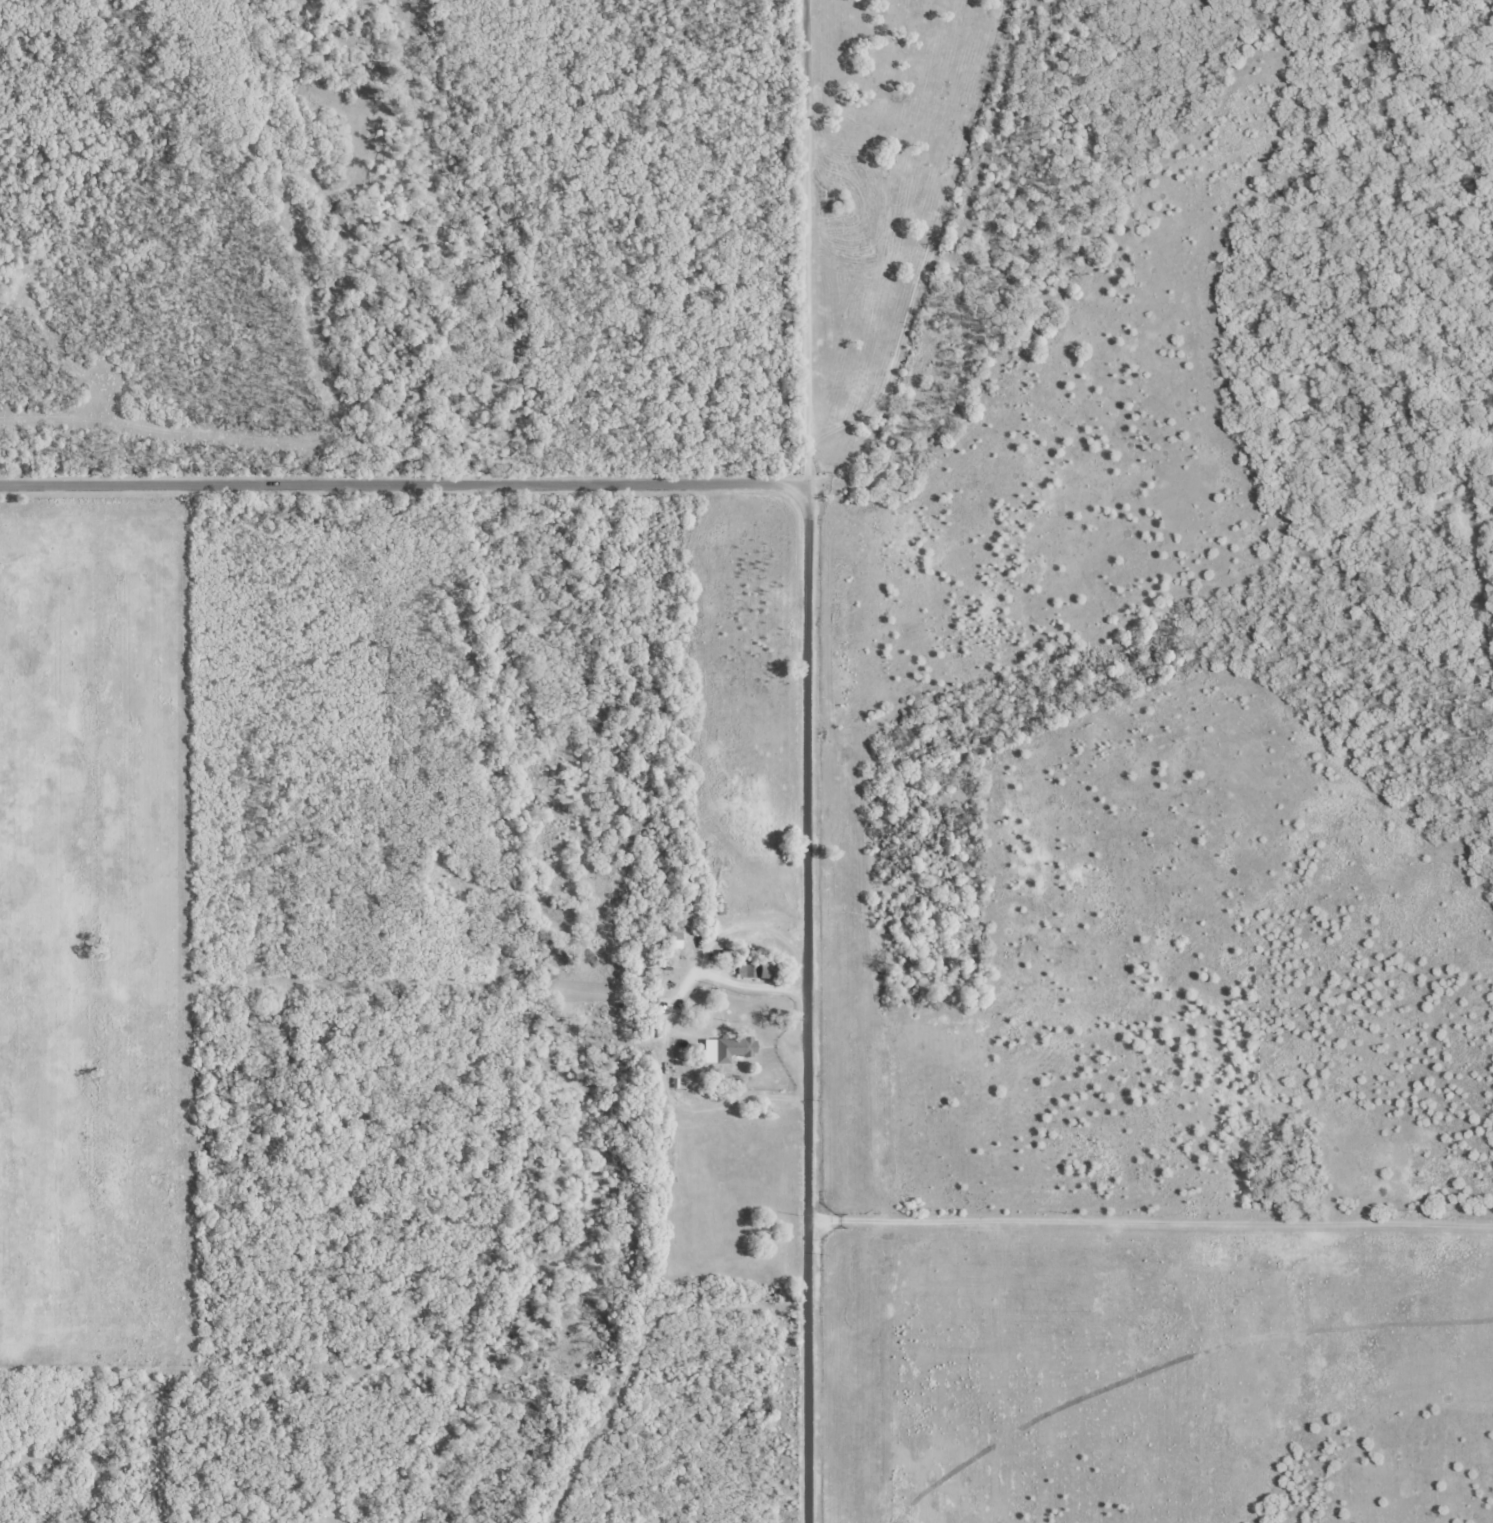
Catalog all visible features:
road: (812, 604)
building: (669, 939)
building: (755, 969)
building: (730, 1048)

